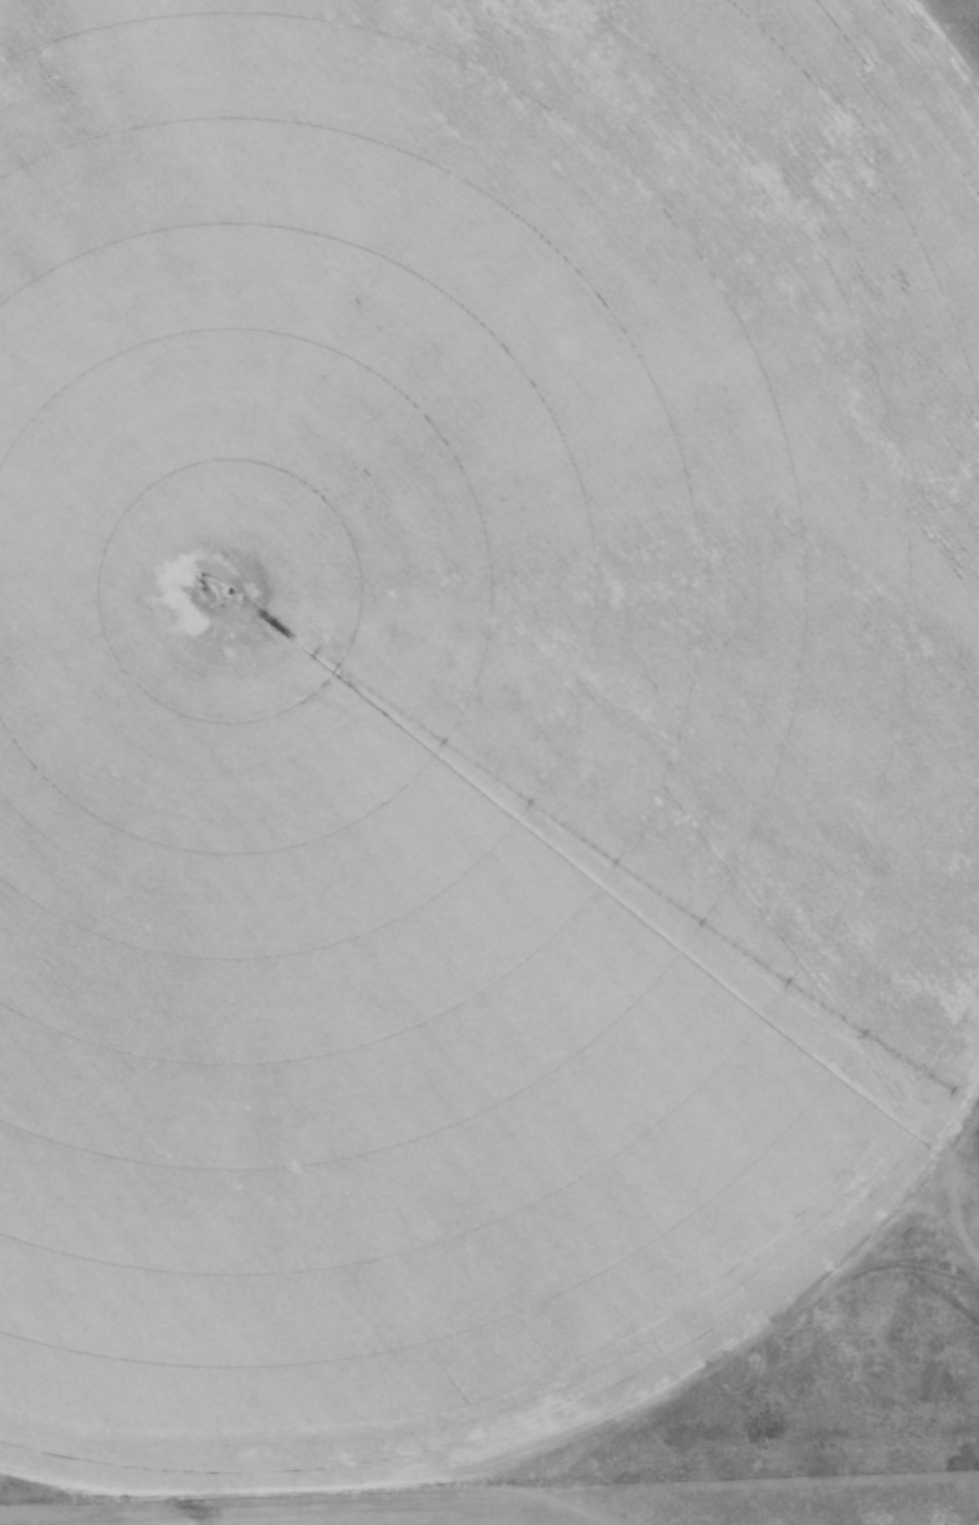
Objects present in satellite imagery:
crop: (465, 714)

